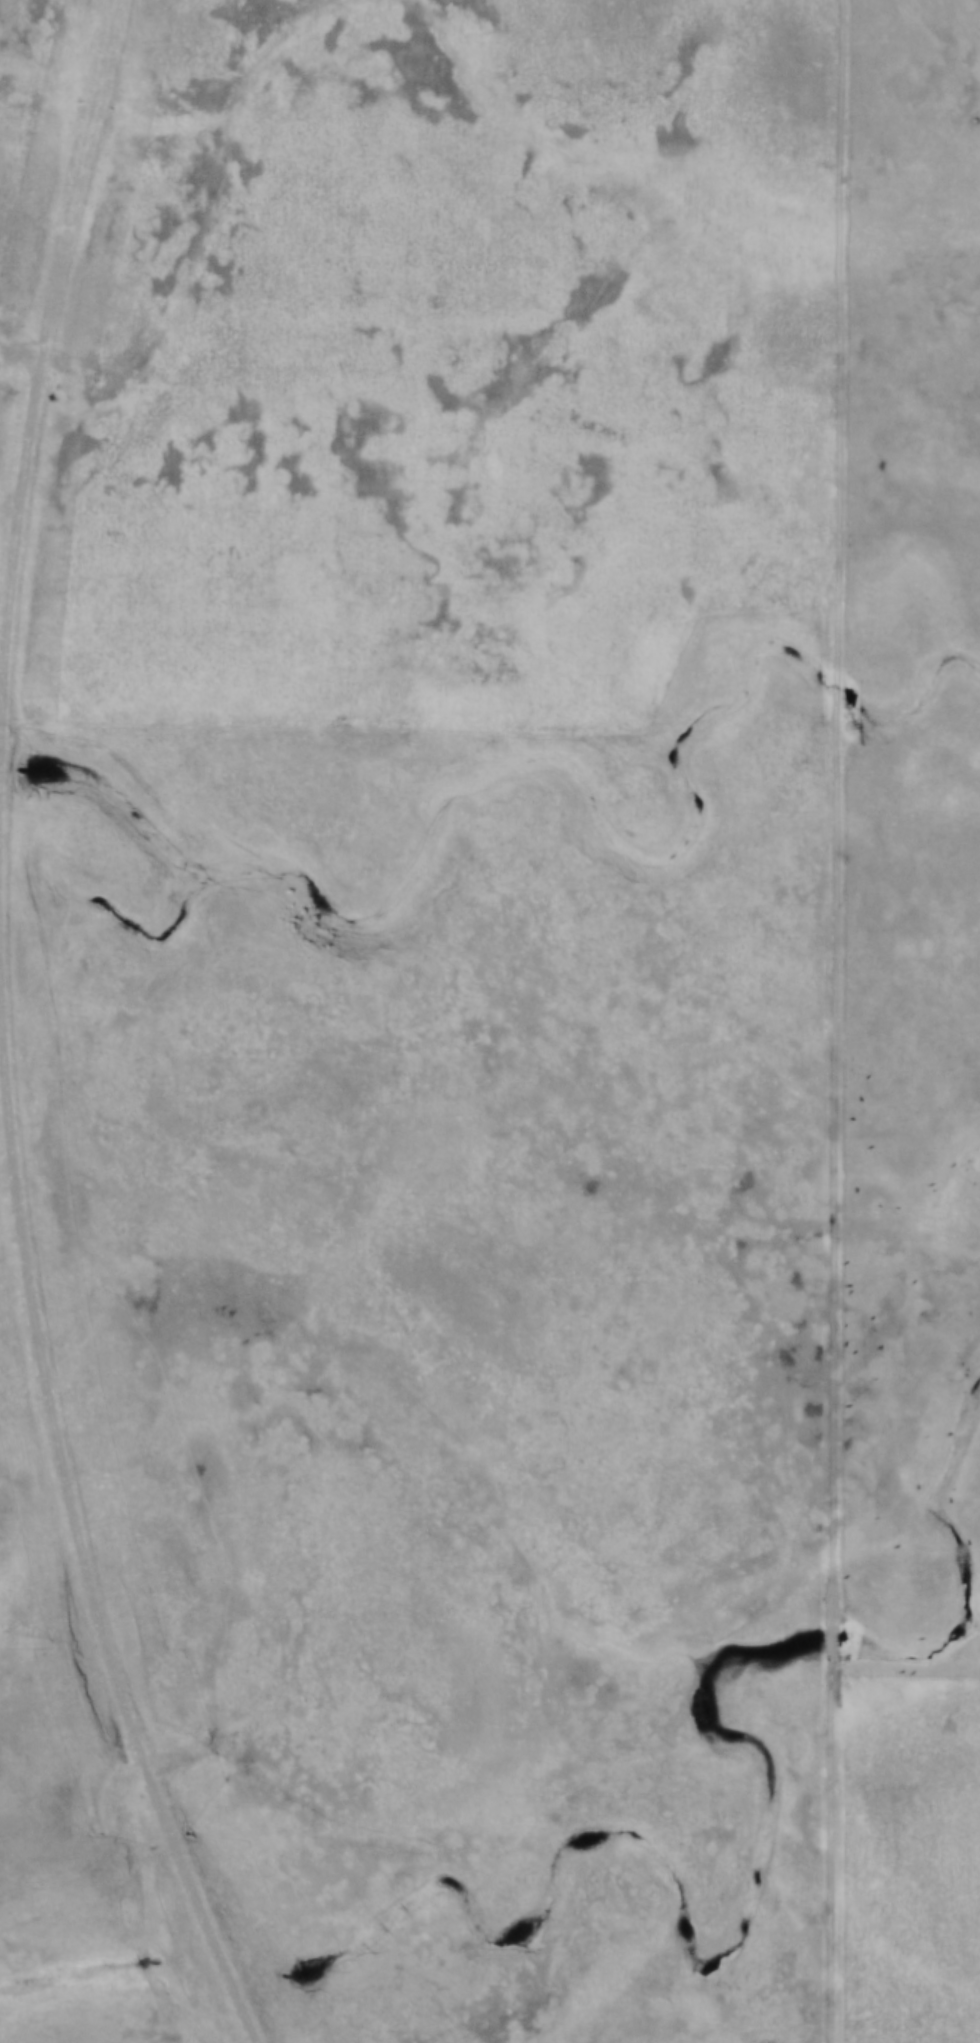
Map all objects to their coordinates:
road: (835, 1021)

